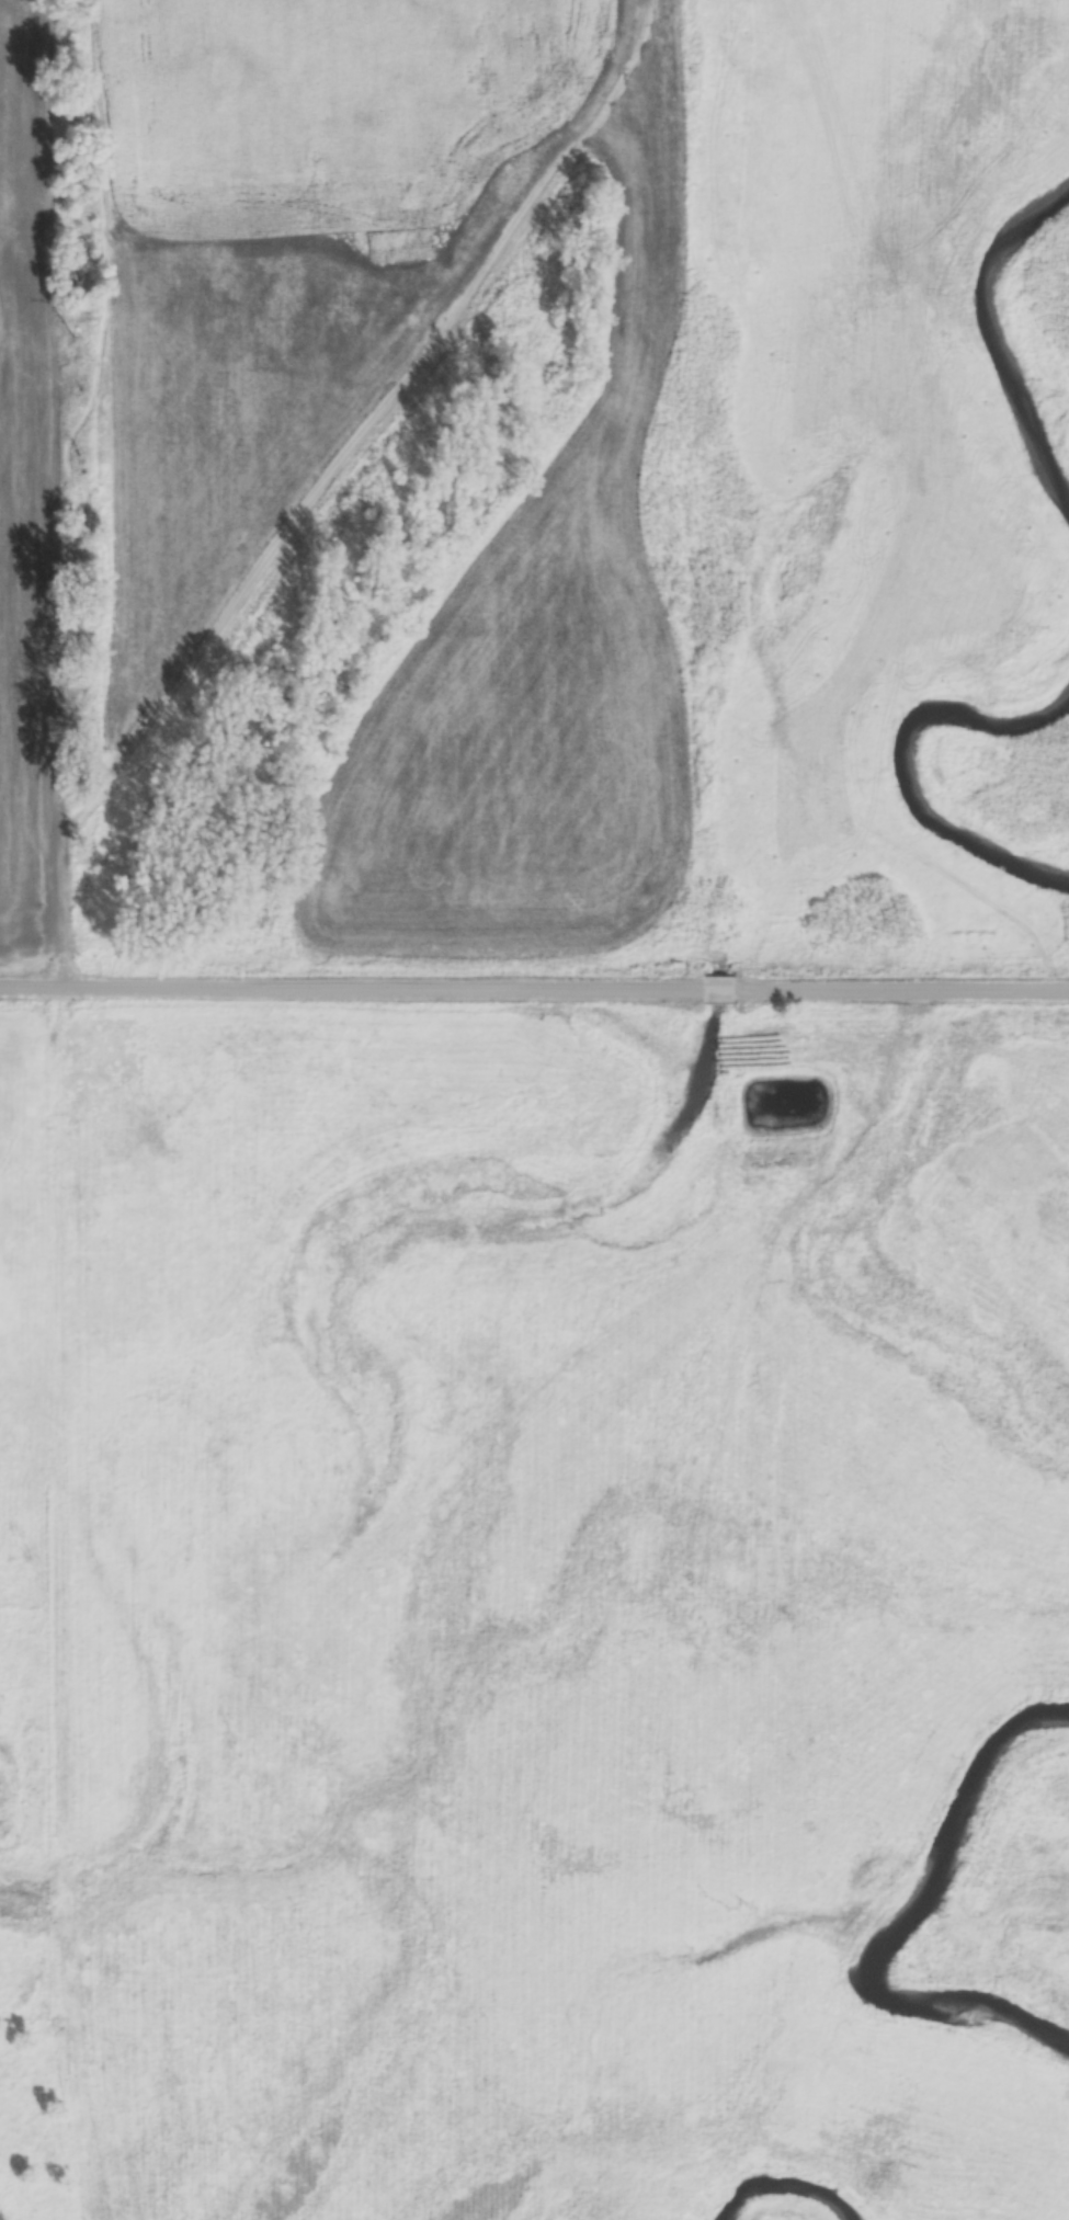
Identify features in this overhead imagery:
river: (1012, 339)
road: (62, 494)
river: (910, 727)
road: (352, 990)
road: (719, 992)
road: (901, 992)
river: (900, 1920)
river: (783, 2211)

